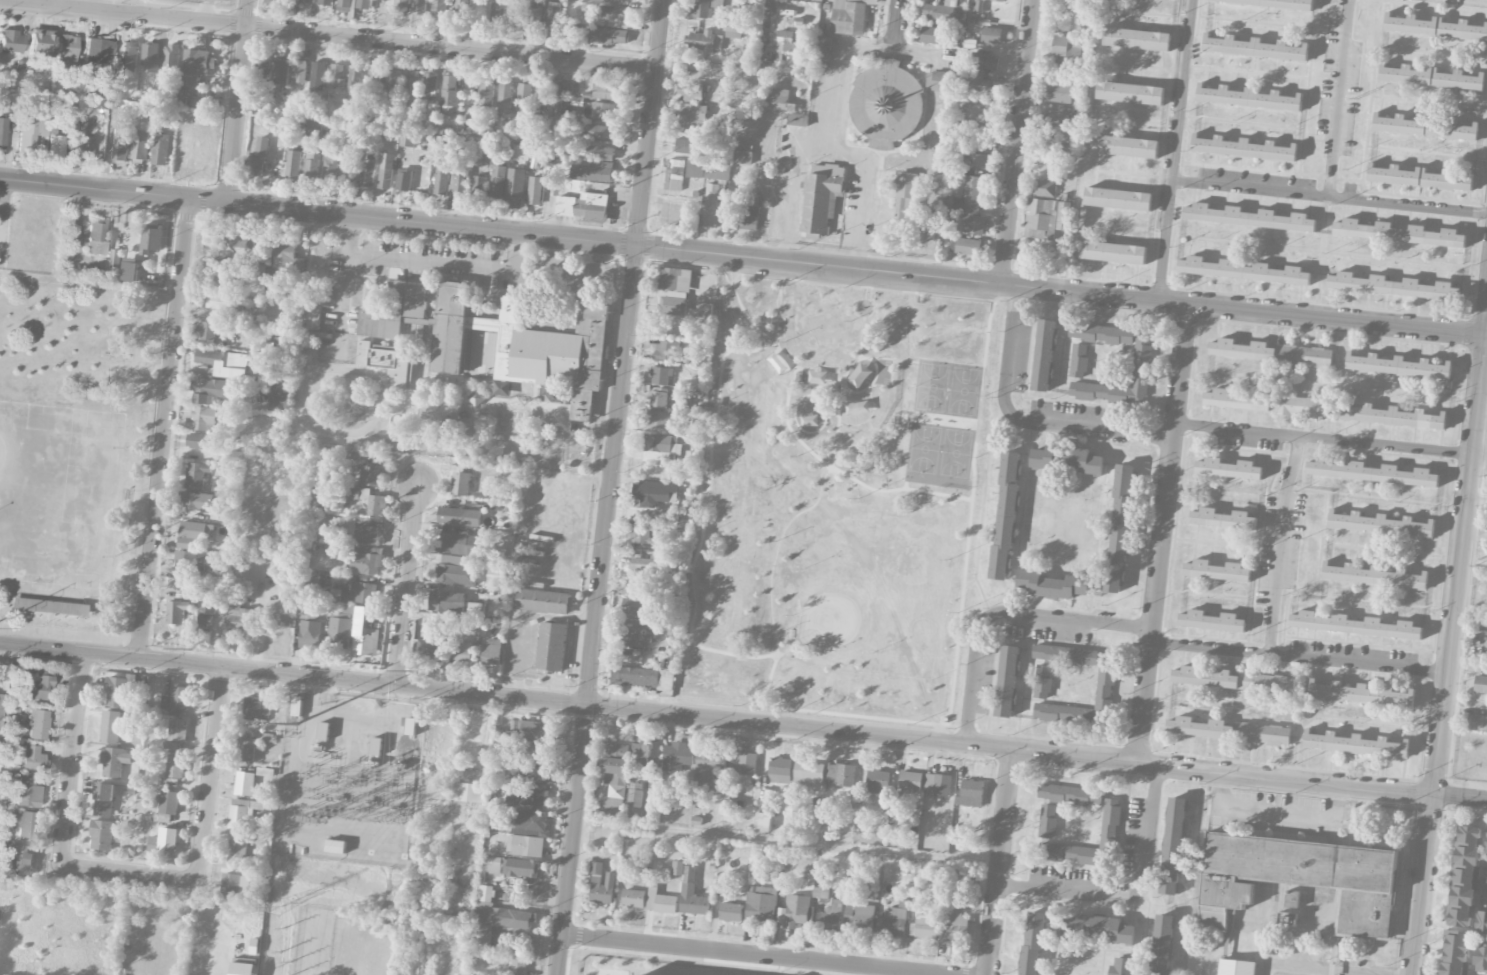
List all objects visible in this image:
building: (275, 0)
building: (289, 0)
building: (1000, 0)
building: (307, 1)
building: (613, 1)
building: (326, 2)
building: (403, 2)
building: (1280, 3)
building: (365, 4)
building: (345, 5)
road: (1439, 5)
building: (419, 7)
building: (1067, 7)
building: (439, 8)
building: (707, 8)
building: (460, 10)
road: (204, 11)
building: (497, 11)
building: (941, 11)
building: (515, 12)
building: (531, 13)
road: (770, 14)
road: (1152, 14)
building: (616, 16)
building: (553, 17)
building: (848, 17)
road: (1253, 21)
road: (896, 26)
building: (1436, 27)
building: (737, 30)
road: (328, 35)
building: (933, 35)
building: (994, 35)
building: (609, 36)
building: (1136, 38)
building: (11, 41)
building: (704, 41)
building: (40, 42)
building: (786, 43)
building: (1067, 46)
building: (1255, 46)
building: (823, 48)
building: (98, 50)
road: (1432, 51)
building: (67, 52)
building: (128, 56)
building: (151, 57)
building: (171, 60)
building: (198, 62)
building: (985, 62)
building: (263, 68)
road: (1148, 69)
road: (834, 70)
building: (281, 71)
building: (300, 71)
road: (1248, 72)
building: (318, 75)
building: (1432, 76)
building: (337, 77)
building: (354, 79)
building: (939, 81)
building: (189, 82)
building: (374, 82)
building: (981, 85)
building: (411, 86)
building: (428, 86)
building: (564, 86)
building: (392, 88)
building: (692, 89)
building: (605, 90)
road: (1183, 91)
building: (1060, 92)
building: (1131, 92)
building: (449, 93)
building: (486, 94)
building: (542, 96)
building: (504, 97)
building: (523, 97)
building: (1250, 97)
road: (1307, 97)
building: (779, 99)
road: (1339, 99)
building: (204, 101)
road: (238, 101)
road: (1371, 101)
road: (1429, 101)
building: (92, 104)
building: (886, 104)
building: (974, 109)
building: (603, 111)
building: (693, 116)
building: (1058, 117)
building: (797, 120)
road: (1137, 120)
building: (99, 121)
road: (1242, 122)
building: (1426, 126)
building: (2, 132)
building: (30, 132)
building: (314, 132)
building: (602, 132)
building: (407, 140)
road: (1319, 140)
road: (1016, 141)
building: (56, 144)
building: (1125, 144)
building: (120, 145)
building: (683, 146)
building: (1244, 147)
building: (1069, 148)
building: (140, 149)
building: (160, 149)
road: (830, 149)
building: (86, 150)
road: (1427, 152)
building: (599, 153)
building: (743, 155)
building: (257, 157)
building: (973, 160)
building: (293, 165)
building: (347, 166)
building: (311, 167)
building: (329, 169)
building: (695, 169)
building: (386, 171)
building: (592, 171)
building: (716, 171)
building: (367, 175)
building: (674, 175)
road: (1135, 177)
building: (1420, 177)
building: (404, 180)
building: (441, 180)
building: (498, 183)
building: (457, 186)
building: (479, 187)
building: (515, 188)
building: (1044, 188)
building: (534, 190)
road: (1251, 190)
building: (821, 197)
building: (906, 197)
building: (967, 197)
building: (1119, 197)
building: (584, 206)
building: (712, 206)
road: (1408, 207)
building: (1251, 216)
building: (749, 217)
building: (1043, 219)
road: (1128, 226)
building: (1400, 232)
building: (96, 236)
building: (151, 238)
road: (1166, 241)
building: (968, 246)
building: (235, 249)
road: (1327, 250)
building: (1113, 251)
road: (742, 256)
building: (114, 257)
road: (1322, 257)
road: (346, 259)
building: (284, 262)
road: (447, 265)
building: (214, 267)
building: (130, 270)
building: (1244, 270)
building: (259, 273)
building: (1395, 285)
building: (675, 290)
building: (702, 310)
building: (397, 313)
building: (215, 316)
building: (314, 317)
road: (1486, 326)
building: (1101, 333)
road: (1486, 335)
building: (525, 346)
building: (665, 351)
building: (1271, 353)
building: (1044, 355)
building: (1078, 360)
building: (1141, 360)
building: (224, 363)
building: (265, 364)
building: (386, 364)
road: (1484, 364)
building: (1397, 366)
building: (660, 376)
building: (212, 390)
building: (280, 398)
building: (657, 398)
building: (1267, 403)
building: (1392, 416)
building: (204, 418)
building: (655, 419)
road: (1025, 421)
road: (164, 429)
road: (1322, 437)
building: (201, 441)
road: (1028, 443)
building: (659, 447)
road: (1479, 449)
building: (350, 454)
park: (80, 455)
building: (235, 457)
building: (1067, 459)
building: (1229, 468)
building: (1371, 472)
building: (196, 475)
building: (370, 475)
building: (461, 483)
road: (611, 487)
road: (1305, 488)
building: (653, 492)
building: (369, 500)
building: (196, 501)
park: (836, 502)
building: (459, 516)
building: (1006, 516)
building: (1223, 519)
building: (1380, 524)
building: (1120, 528)
building: (369, 531)
building: (193, 533)
road: (1161, 533)
building: (639, 534)
building: (452, 543)
road: (1280, 543)
road: (1257, 547)
road: (1390, 550)
building: (190, 560)
building: (367, 560)
building: (647, 564)
building: (457, 570)
building: (1216, 571)
building: (1373, 576)
road: (406, 582)
building: (644, 583)
building: (1053, 585)
building: (364, 592)
building: (446, 601)
building: (542, 601)
building: (637, 606)
building: (51, 607)
building: (477, 609)
building: (176, 612)
road: (1003, 612)
building: (207, 616)
building: (240, 620)
building: (1211, 621)
building: (1354, 625)
building: (1483, 627)
building: (341, 629)
building: (552, 646)
building: (424, 649)
power tower: (192, 650)
building: (462, 651)
building: (491, 652)
road: (1448, 654)
building: (1065, 655)
road: (1298, 656)
power tower: (406, 670)
building: (643, 678)
building: (1234, 680)
building: (1007, 681)
building: (1042, 681)
road: (1024, 682)
building: (1105, 682)
building: (37, 683)
building: (1480, 684)
road: (326, 690)
building: (117, 692)
road: (403, 693)
building: (1361, 694)
building: (176, 698)
building: (0, 703)
building: (297, 705)
building: (253, 708)
road: (743, 720)
building: (1477, 723)
building: (37, 724)
building: (110, 727)
building: (1198, 728)
building: (324, 730)
building: (535, 730)
building: (177, 734)
building: (1261, 734)
building: (266, 737)
building: (1355, 744)
building: (376, 745)
building: (246, 748)
building: (617, 748)
building: (534, 749)
building: (404, 751)
building: (644, 753)
building: (677, 756)
building: (32, 758)
road: (71, 761)
building: (114, 761)
building: (742, 762)
building: (708, 763)
building: (175, 766)
building: (616, 766)
building: (780, 770)
road: (211, 772)
building: (808, 774)
building: (840, 774)
building: (537, 775)
power substation: (349, 778)
building: (910, 780)
building: (878, 782)
building: (245, 783)
building: (937, 785)
building: (27, 792)
building: (470, 792)
building: (614, 793)
building: (970, 793)
building: (1070, 794)
building: (635, 796)
building: (105, 798)
building: (527, 799)
building: (169, 802)
building: (242, 812)
road: (1273, 813)
building: (1047, 821)
building: (1110, 821)
building: (763, 822)
building: (532, 823)
building: (25, 825)
building: (102, 835)
building: (164, 841)
road: (785, 843)
building: (336, 845)
building: (525, 846)
building: (1173, 846)
building: (1486, 849)
building: (237, 851)
building: (20, 860)
road: (996, 861)
building: (492, 865)
building: (523, 868)
building: (677, 868)
road: (133, 875)
building: (1464, 876)
building: (1301, 879)
building: (601, 884)
building: (235, 885)
building: (820, 892)
building: (692, 894)
road: (1129, 895)
building: (633, 898)
building: (1292, 899)
building: (660, 902)
building: (761, 903)
power tower: (276, 909)
building: (499, 911)
building: (794, 911)
building: (730, 912)
building: (831, 916)
building: (860, 916)
building: (1287, 919)
building: (891, 922)
building: (1481, 922)
building: (954, 925)
building: (924, 926)
building: (1098, 928)
road: (1146, 929)
building: (482, 935)
building: (1031, 943)
building: (1162, 945)
building: (1455, 953)
road: (754, 955)
building: (1480, 957)
building: (518, 965)
building: (1120, 966)
building: (1236, 967)

